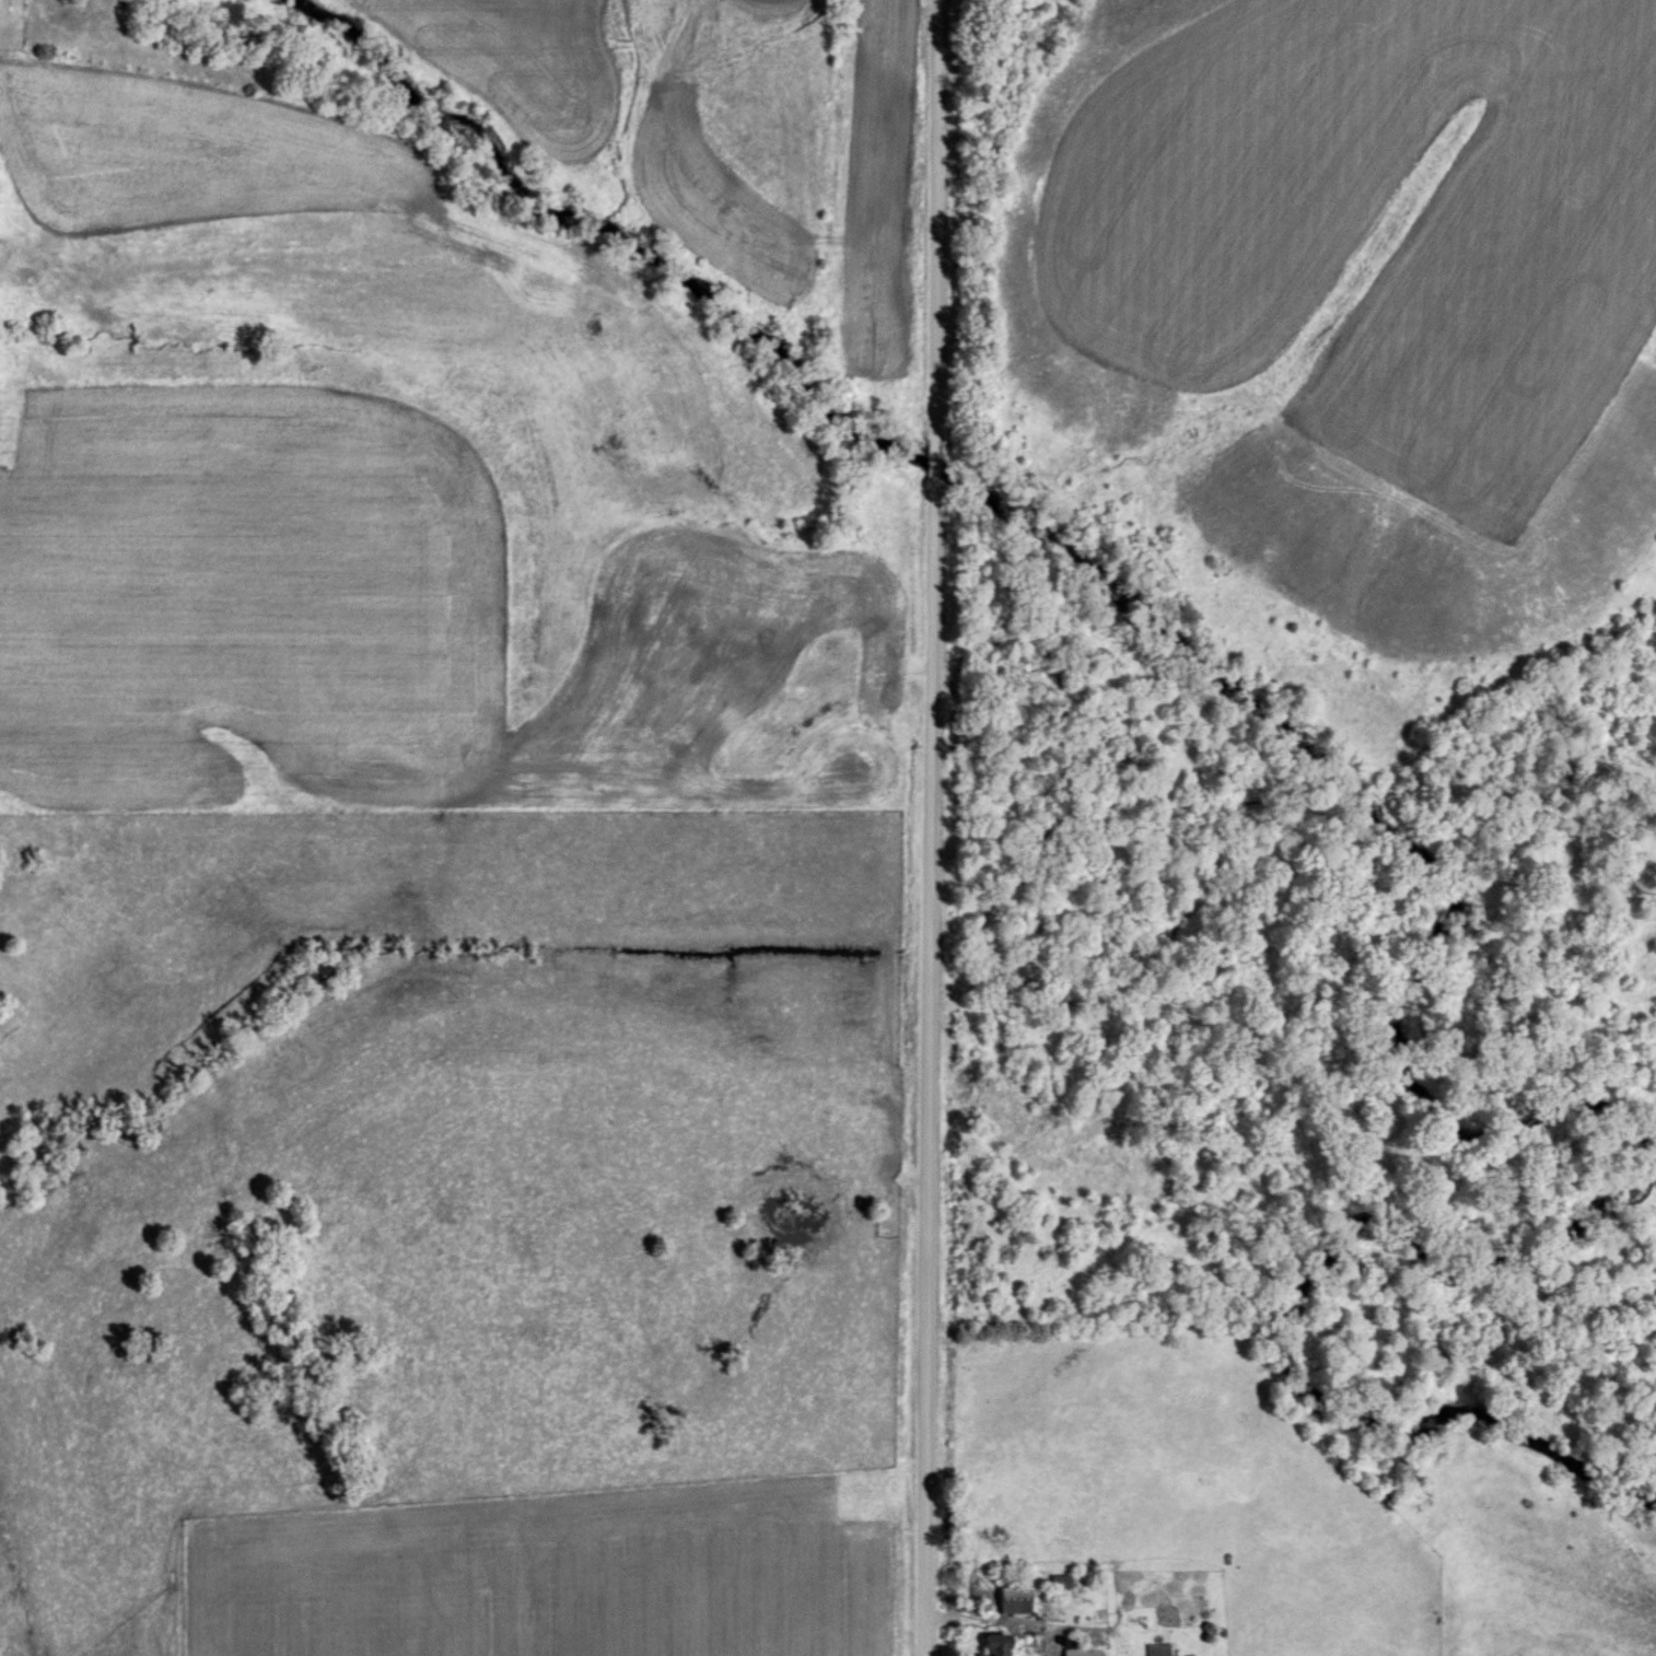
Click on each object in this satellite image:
park: (9, 26)
road: (936, 828)
building: (1007, 1600)
building: (989, 1645)
building: (1070, 1653)

